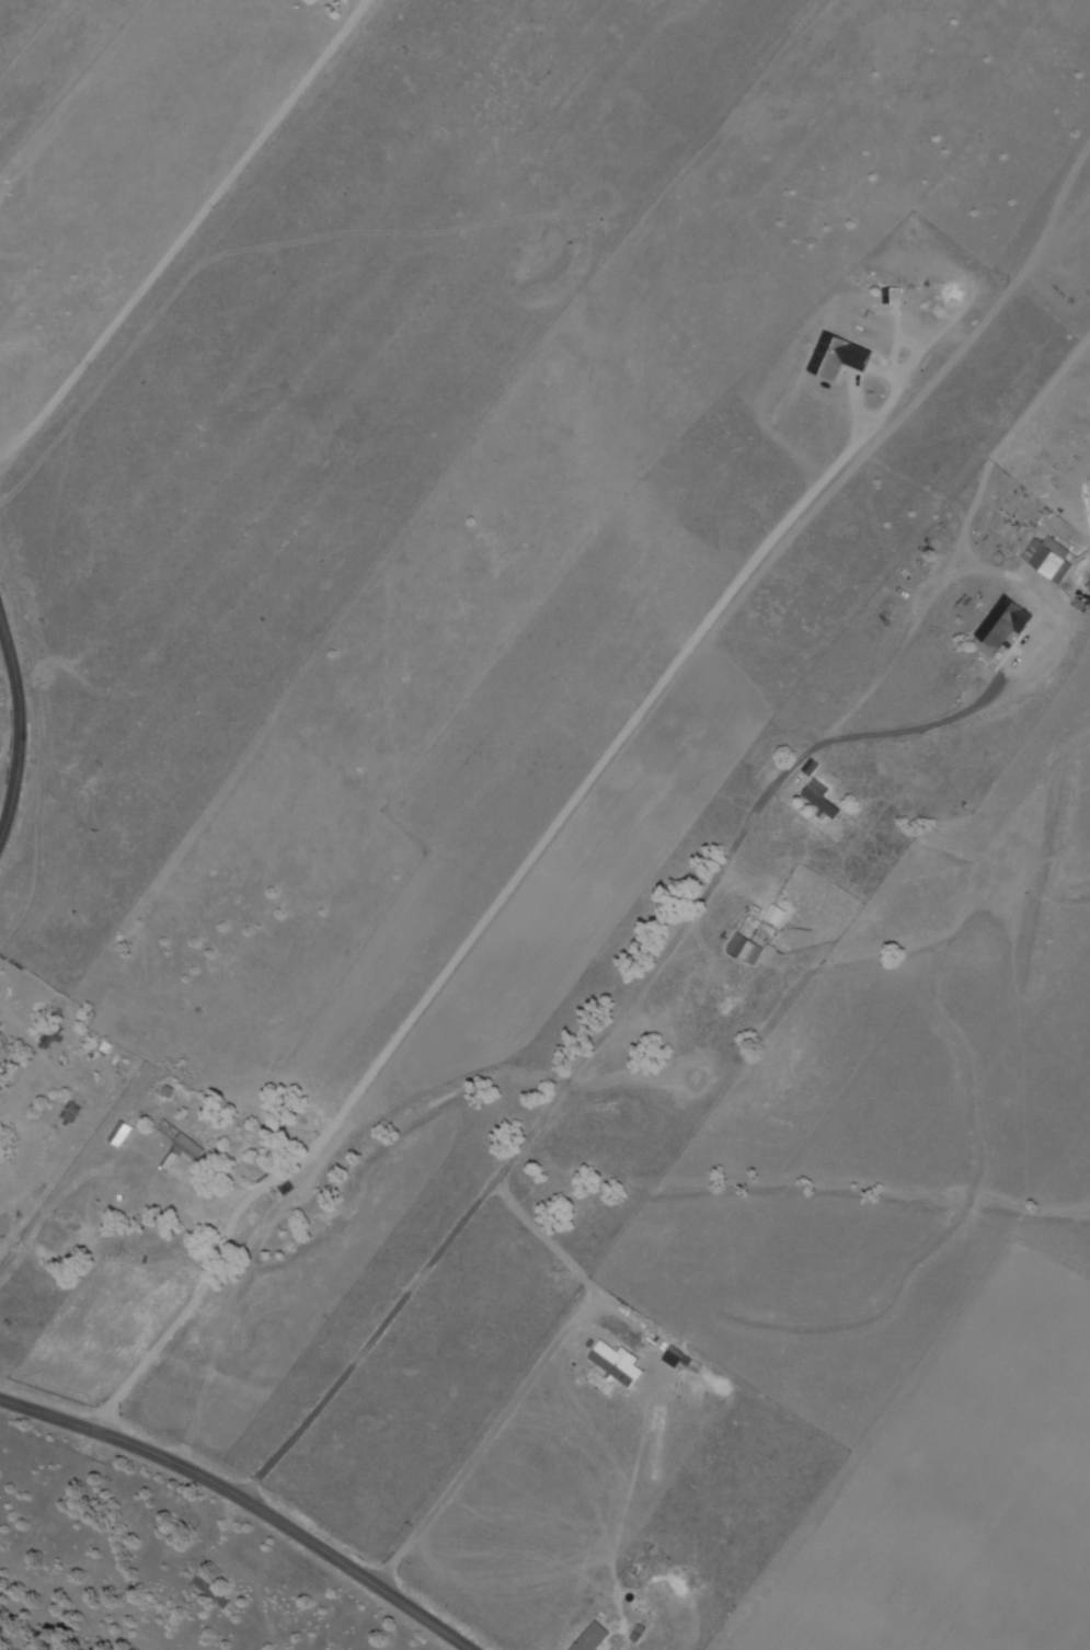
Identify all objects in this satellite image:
road: (186, 231)
building: (890, 297)
building: (841, 359)
building: (1046, 558)
building: (1000, 623)
road: (16, 727)
building: (818, 798)
building: (772, 915)
building: (742, 950)
building: (47, 1038)
building: (97, 1051)
building: (68, 1112)
building: (185, 1147)
building: (615, 1363)
road: (244, 1503)
building: (208, 1592)
building: (596, 1640)

